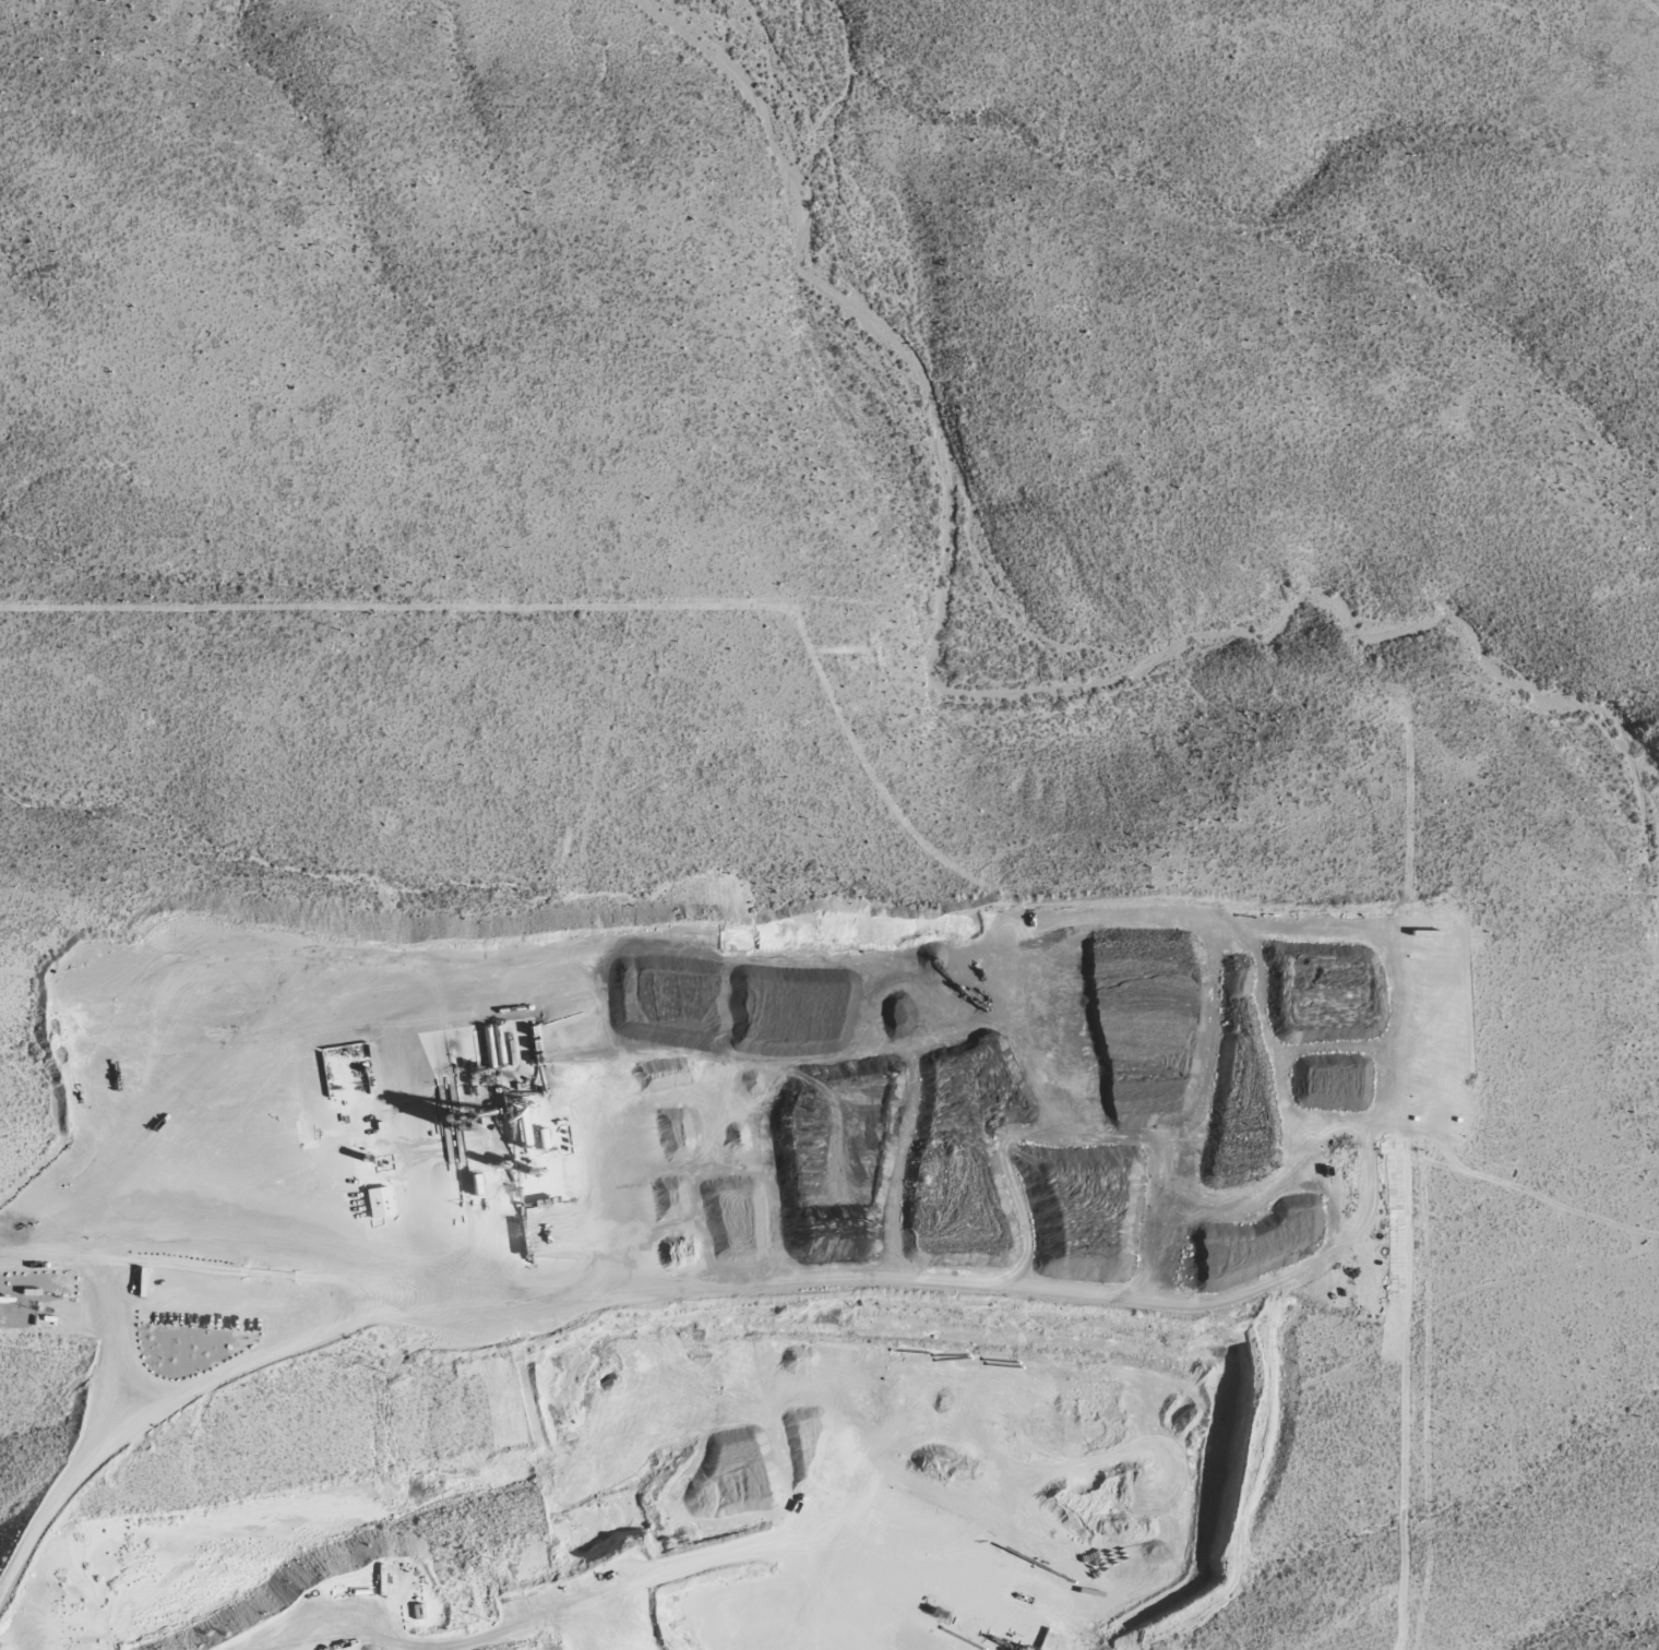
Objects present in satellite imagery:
road: (43, 1258)

